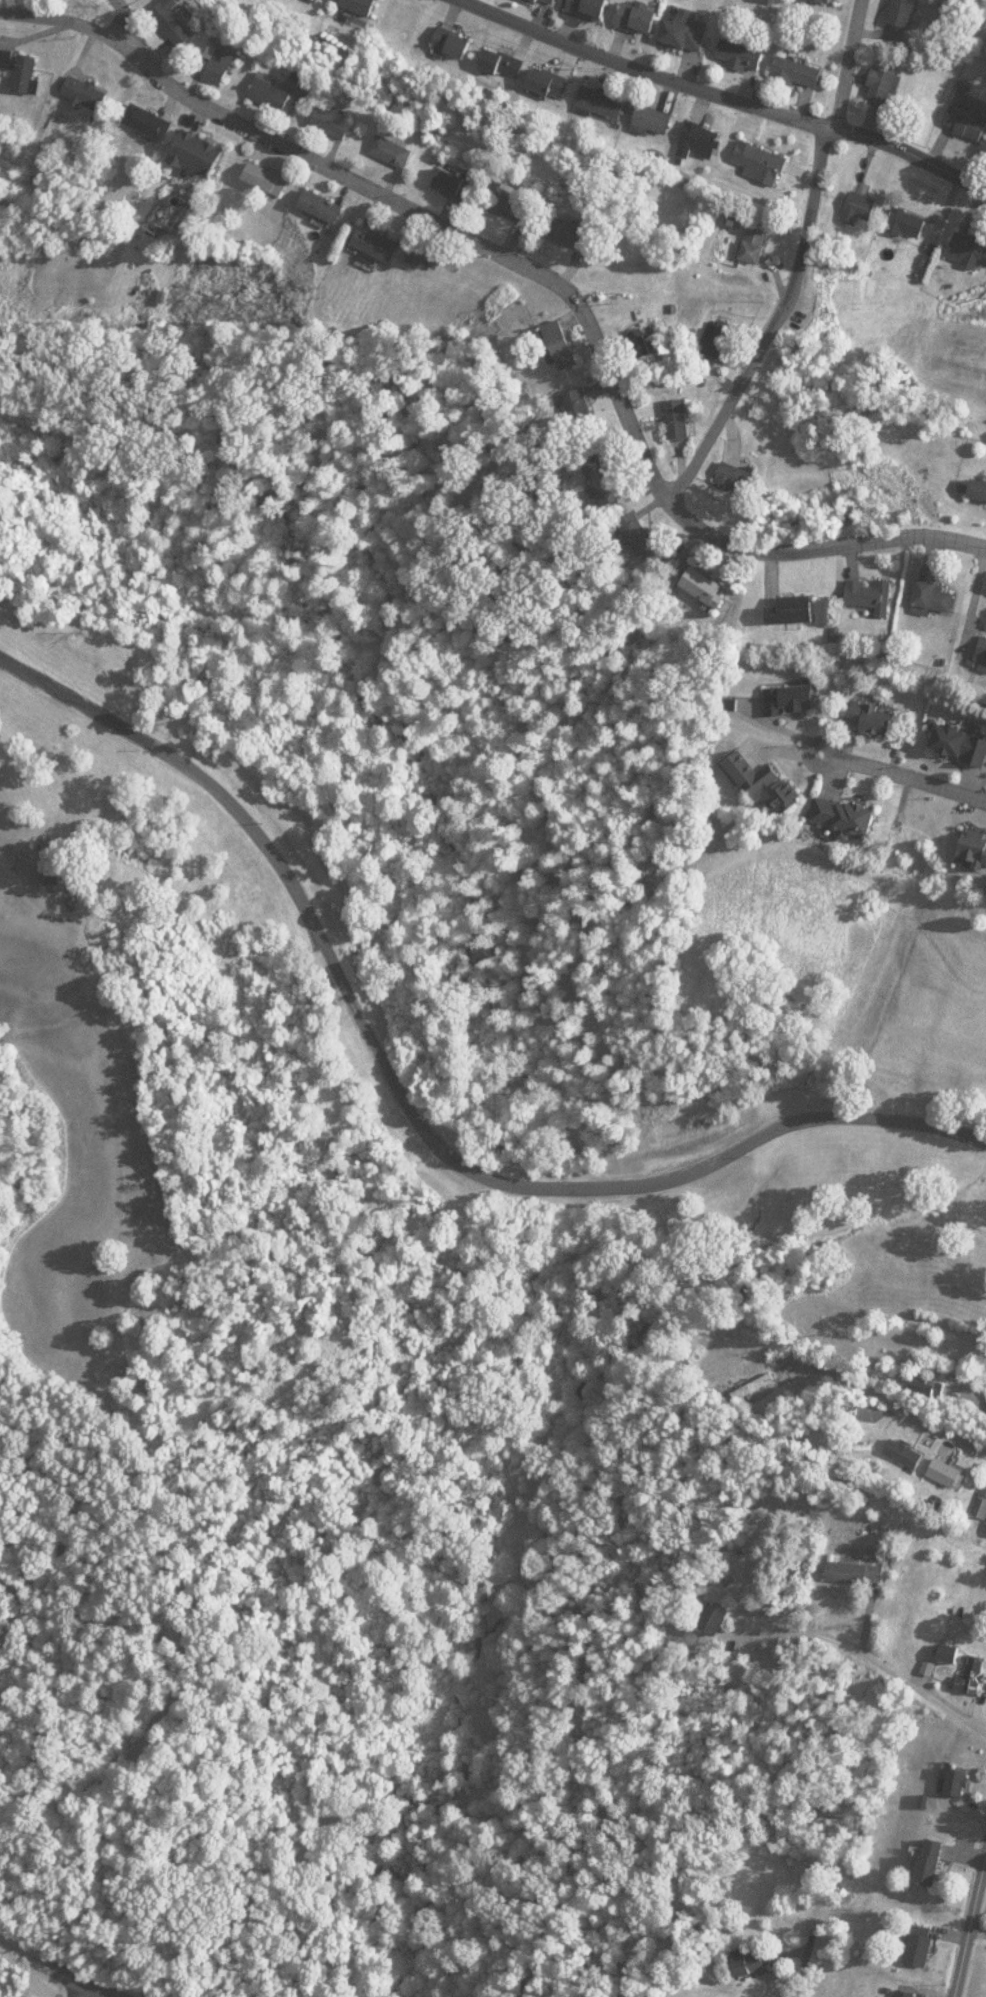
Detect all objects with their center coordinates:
building: (362, 1)
building: (589, 3)
building: (895, 6)
building: (633, 8)
building: (172, 14)
building: (680, 21)
building: (448, 31)
building: (736, 40)
building: (215, 50)
building: (495, 53)
building: (19, 59)
building: (793, 59)
road: (842, 59)
building: (306, 69)
building: (544, 71)
building: (875, 73)
building: (80, 80)
building: (266, 80)
road: (738, 87)
building: (596, 90)
building: (648, 106)
building: (142, 109)
building: (329, 109)
building: (961, 110)
building: (700, 127)
building: (388, 138)
building: (193, 142)
building: (755, 148)
building: (262, 166)
building: (455, 171)
building: (853, 191)
building: (514, 193)
building: (317, 194)
building: (899, 208)
building: (566, 222)
building: (372, 231)
building: (748, 234)
building: (966, 237)
building: (423, 255)
road: (537, 263)
building: (668, 296)
road: (766, 311)
building: (708, 326)
building: (555, 331)
building: (672, 406)
building: (729, 465)
building: (599, 468)
building: (976, 474)
building: (698, 579)
building: (863, 580)
building: (924, 583)
building: (796, 597)
building: (979, 637)
building: (786, 685)
building: (868, 707)
building: (954, 733)
road: (900, 766)
building: (754, 770)
building: (840, 805)
building: (971, 836)
road: (12, 848)
building: (50, 876)
road: (405, 1098)
road: (951, 1432)
road: (972, 1937)
road: (69, 1972)
road: (80, 1988)
road: (103, 1988)

